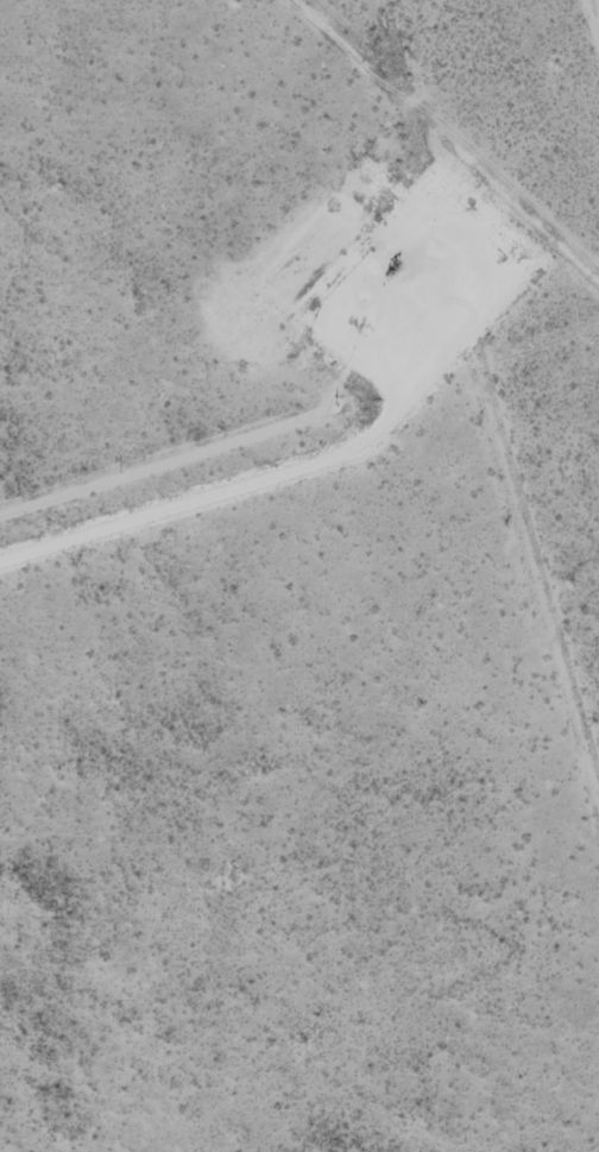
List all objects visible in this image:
petroleum well: (395, 264)
road: (257, 491)

